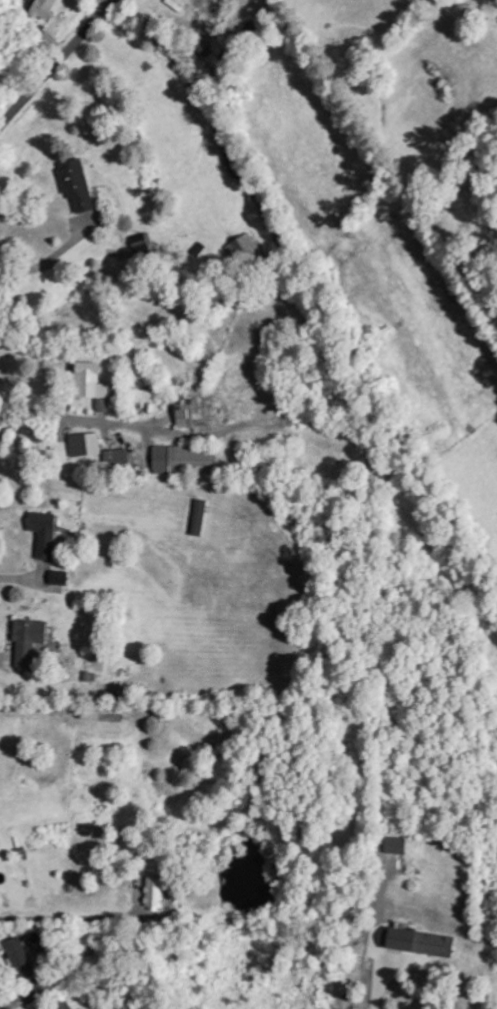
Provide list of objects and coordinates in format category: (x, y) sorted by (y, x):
building: (44, 8)
road: (53, 63)
building: (77, 185)
building: (142, 241)
building: (244, 243)
building: (92, 385)
building: (187, 413)
building: (86, 442)
building: (117, 459)
building: (184, 459)
building: (199, 517)
building: (44, 533)
building: (58, 577)
building: (28, 637)
building: (395, 845)
building: (155, 891)
building: (420, 942)
building: (18, 954)
building: (63, 1005)

